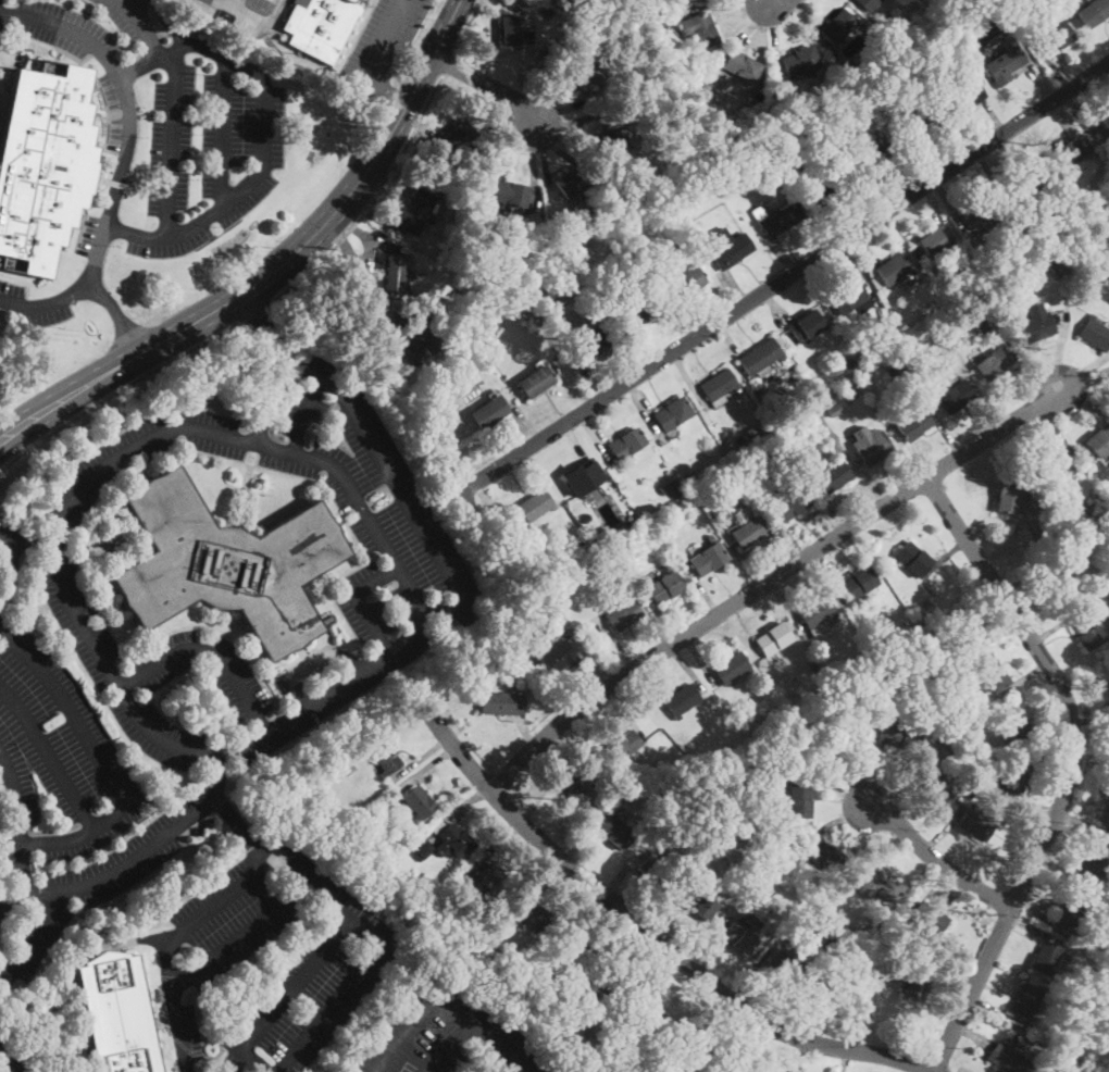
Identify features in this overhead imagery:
building: (601, 0)
road: (768, 2)
road: (778, 2)
building: (982, 2)
road: (124, 3)
road: (132, 3)
building: (870, 3)
road: (234, 4)
road: (715, 7)
road: (504, 8)
parking lot: (249, 10)
building: (1093, 12)
road: (253, 21)
road: (809, 24)
parking lot: (86, 26)
building: (649, 26)
building: (837, 26)
building: (320, 27)
road: (495, 29)
building: (700, 29)
road: (773, 29)
road: (147, 30)
building: (511, 30)
road: (745, 32)
building: (959, 32)
building: (1055, 38)
road: (386, 39)
parking lot: (383, 41)
building: (945, 46)
road: (497, 53)
building: (799, 63)
building: (1005, 63)
building: (743, 65)
road: (1052, 66)
building: (855, 71)
building: (584, 77)
road: (488, 83)
road: (1043, 83)
road: (553, 87)
road: (387, 90)
building: (759, 96)
building: (962, 100)
building: (859, 103)
road: (127, 110)
road: (564, 110)
road: (489, 111)
road: (1079, 115)
road: (996, 116)
road: (577, 120)
road: (416, 124)
road: (1072, 124)
building: (917, 128)
building: (1101, 128)
road: (223, 130)
road: (263, 134)
road: (581, 136)
building: (612, 137)
building: (454, 138)
road: (172, 141)
road: (559, 146)
parking lot: (185, 148)
road: (514, 149)
building: (1064, 153)
road: (543, 157)
road: (533, 159)
building: (868, 161)
road: (371, 162)
building: (43, 164)
road: (924, 164)
building: (805, 170)
building: (732, 174)
road: (994, 174)
road: (902, 175)
building: (571, 182)
building: (1023, 182)
building: (827, 187)
building: (507, 194)
road: (932, 201)
road: (951, 203)
road: (392, 207)
building: (1086, 209)
building: (415, 212)
road: (375, 216)
building: (980, 216)
building: (776, 217)
road: (823, 223)
building: (1107, 229)
building: (697, 237)
road: (364, 238)
building: (935, 240)
building: (680, 241)
road: (379, 242)
road: (867, 246)
building: (1019, 247)
building: (730, 248)
road: (784, 254)
building: (1058, 261)
building: (893, 269)
road: (858, 274)
building: (396, 275)
road: (785, 276)
building: (683, 281)
road: (734, 288)
road: (367, 295)
building: (959, 296)
building: (620, 299)
building: (850, 299)
road: (46, 300)
parking lot: (36, 302)
road: (773, 307)
building: (938, 309)
road: (684, 313)
road: (119, 314)
building: (932, 315)
building: (634, 316)
building: (982, 321)
building: (1036, 322)
building: (807, 326)
building: (884, 326)
building: (415, 333)
building: (1095, 334)
road: (728, 337)
building: (590, 345)
road: (640, 350)
road: (1060, 350)
building: (760, 357)
road: (278, 362)
road: (1019, 362)
building: (993, 363)
road: (119, 364)
building: (850, 366)
road: (1084, 371)
building: (895, 372)
road: (689, 379)
road: (594, 381)
road: (1085, 381)
building: (536, 382)
building: (469, 383)
building: (719, 386)
road: (571, 390)
road: (979, 390)
road: (117, 392)
building: (472, 395)
building: (956, 397)
road: (1083, 402)
road: (641, 403)
building: (834, 409)
building: (489, 412)
road: (303, 413)
building: (673, 413)
road: (934, 417)
road: (524, 423)
building: (915, 425)
road: (1054, 425)
road: (594, 438)
road: (575, 439)
building: (1099, 439)
building: (626, 445)
building: (874, 448)
building: (1050, 462)
building: (583, 476)
building: (831, 476)
road: (871, 478)
building: (691, 481)
building: (668, 485)
road: (396, 486)
building: (1007, 495)
building: (535, 504)
building: (790, 504)
road: (826, 504)
road: (493, 507)
road: (7, 527)
building: (747, 533)
building: (599, 534)
road: (5, 536)
building: (1055, 536)
road: (33, 539)
road: (790, 543)
road: (1006, 544)
building: (1055, 548)
building: (518, 552)
road: (740, 556)
road: (944, 556)
building: (544, 557)
building: (625, 559)
building: (708, 559)
building: (912, 559)
parking lot: (415, 562)
building: (224, 564)
building: (611, 569)
building: (1106, 569)
road: (1021, 571)
building: (551, 572)
building: (879, 572)
road: (10, 573)
road: (831, 579)
road: (767, 581)
building: (1056, 583)
building: (859, 584)
building: (1108, 585)
building: (664, 587)
road: (701, 587)
building: (1106, 597)
road: (358, 600)
road: (987, 603)
road: (789, 606)
building: (624, 614)
building: (818, 614)
building: (921, 619)
road: (666, 623)
road: (1056, 625)
building: (1085, 631)
building: (964, 633)
road: (745, 634)
building: (773, 639)
road: (616, 643)
building: (880, 643)
road: (398, 646)
road: (210, 650)
building: (486, 657)
building: (557, 657)
road: (313, 660)
road: (587, 660)
building: (857, 661)
building: (904, 663)
building: (538, 665)
building: (882, 665)
road: (686, 668)
building: (731, 668)
building: (992, 673)
road: (1020, 677)
building: (945, 685)
building: (1108, 685)
building: (864, 697)
building: (931, 697)
building: (797, 698)
building: (682, 700)
building: (501, 702)
road: (624, 711)
road: (1091, 720)
building: (759, 721)
building: (1017, 725)
road: (525, 732)
road: (1055, 733)
building: (899, 735)
building: (835, 738)
road: (573, 743)
building: (622, 745)
road: (1091, 746)
building: (872, 748)
road: (50, 753)
building: (383, 757)
road: (421, 757)
road: (98, 758)
road: (862, 764)
road: (425, 766)
building: (599, 766)
road: (870, 768)
road: (1071, 768)
building: (622, 775)
building: (1013, 776)
building: (936, 782)
road: (899, 784)
building: (575, 789)
road: (833, 789)
building: (969, 794)
building: (799, 800)
building: (419, 802)
road: (466, 802)
parking lot: (65, 805)
road: (1029, 805)
road: (230, 813)
building: (327, 813)
building: (1105, 813)
road: (843, 821)
building: (974, 823)
road: (1082, 823)
building: (411, 825)
building: (764, 825)
building: (436, 826)
road: (947, 827)
road: (1068, 830)
building: (615, 832)
road: (584, 834)
road: (21, 835)
building: (453, 842)
road: (495, 847)
road: (882, 848)
building: (422, 850)
building: (820, 851)
building: (789, 856)
road: (935, 859)
building: (1091, 861)
road: (125, 864)
building: (658, 868)
road: (623, 871)
road: (540, 875)
building: (746, 877)
road: (935, 883)
building: (490, 884)
building: (880, 885)
building: (753, 886)
building: (425, 900)
building: (511, 902)
building: (699, 902)
road: (668, 907)
building: (1070, 908)
road: (1037, 912)
building: (535, 915)
building: (926, 921)
road: (1034, 930)
road: (650, 932)
building: (794, 932)
road: (36, 935)
road: (159, 935)
building: (739, 937)
road: (240, 938)
building: (497, 938)
road: (710, 939)
road: (172, 940)
building: (831, 942)
road: (599, 944)
building: (814, 944)
road: (961, 950)
building: (569, 952)
road: (370, 955)
building: (1046, 958)
parking lot: (269, 961)
building: (782, 968)
road: (760, 970)
road: (949, 970)
building: (1102, 974)
road: (651, 975)
building: (523, 980)
building: (914, 980)
road: (662, 982)
building: (615, 985)
building: (561, 987)
building: (832, 990)
building: (595, 994)
road: (285, 998)
road: (448, 999)
building: (1026, 1000)
road: (996, 1010)
building: (113, 1013)
road: (860, 1020)
building: (655, 1021)
road: (851, 1024)
parking lot: (441, 1031)
road: (691, 1032)
road: (971, 1036)
road: (447, 1045)
road: (752, 1046)
building: (1042, 1051)
road: (798, 1056)
building: (701, 1058)
road: (8, 1060)
road: (844, 1060)
building: (1009, 1060)
road: (919, 1068)
building: (636, 1069)
road: (186, 1070)

